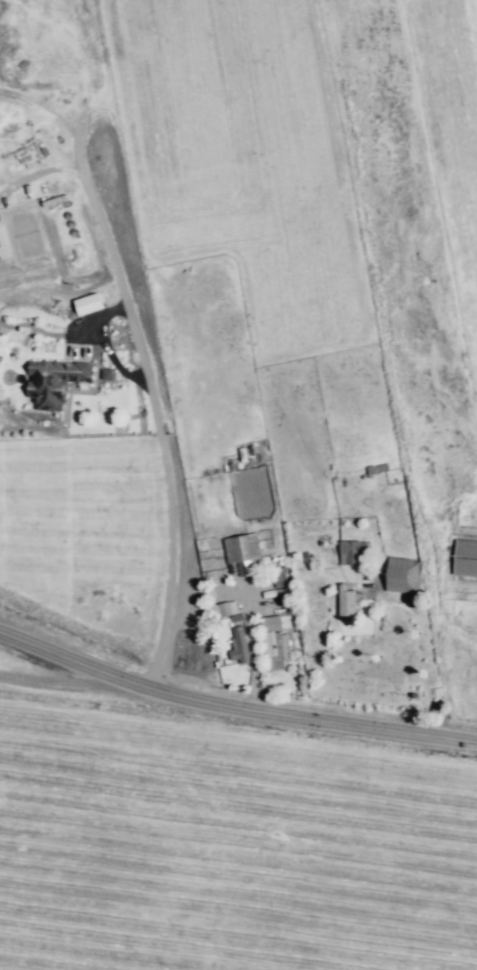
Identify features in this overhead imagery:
building: (51, 385)
road: (152, 411)
building: (246, 550)
building: (351, 551)
building: (465, 559)
building: (273, 578)
building: (399, 582)
building: (277, 595)
building: (344, 599)
building: (227, 610)
building: (271, 623)
building: (241, 642)
building: (276, 650)
road: (254, 653)
road: (233, 718)
crop: (223, 842)

